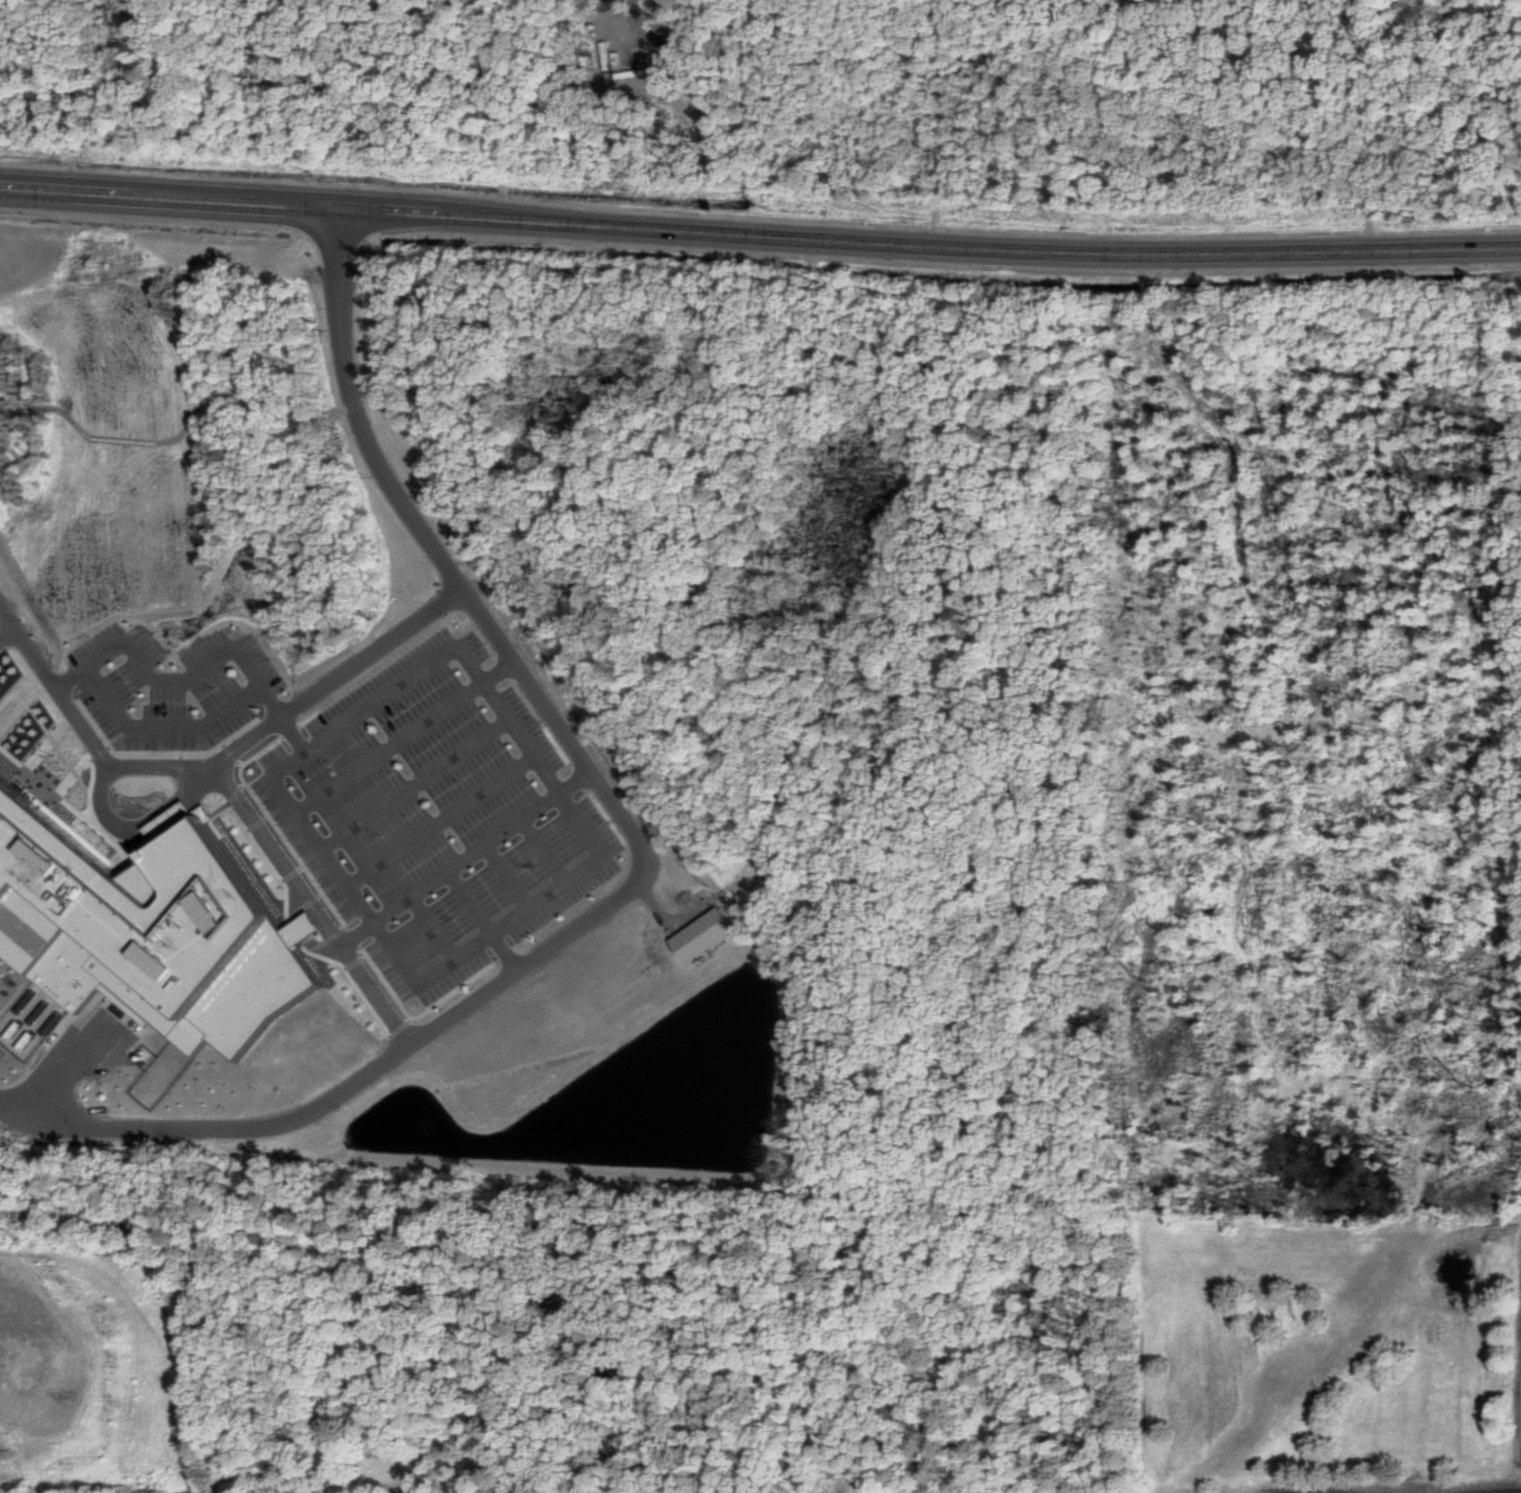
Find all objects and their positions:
road: (760, 231)
road: (199, 414)
road: (5, 628)
road: (460, 644)
road: (177, 677)
parking lot: (171, 687)
road: (165, 725)
road: (404, 733)
road: (295, 735)
road: (219, 760)
road: (417, 783)
parking lot: (436, 813)
road: (442, 819)
road: (133, 827)
road: (544, 849)
road: (466, 857)
road: (647, 860)
road: (508, 874)
road: (312, 905)
road: (484, 919)
road: (434, 926)
building: (704, 931)
building: (145, 935)
road: (58, 1066)
crop: (1333, 1350)

